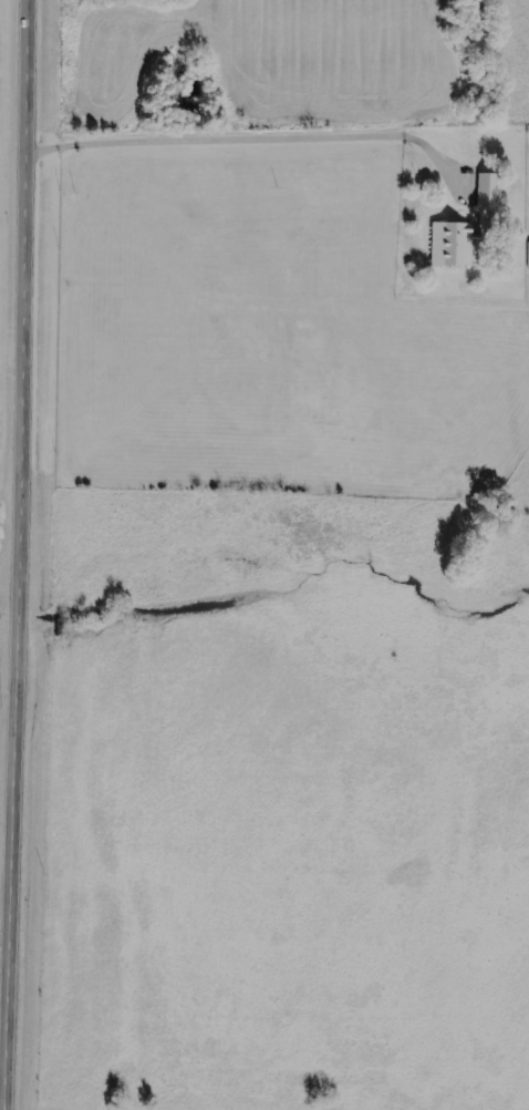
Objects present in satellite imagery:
building: (485, 191)
building: (449, 244)
road: (14, 503)

